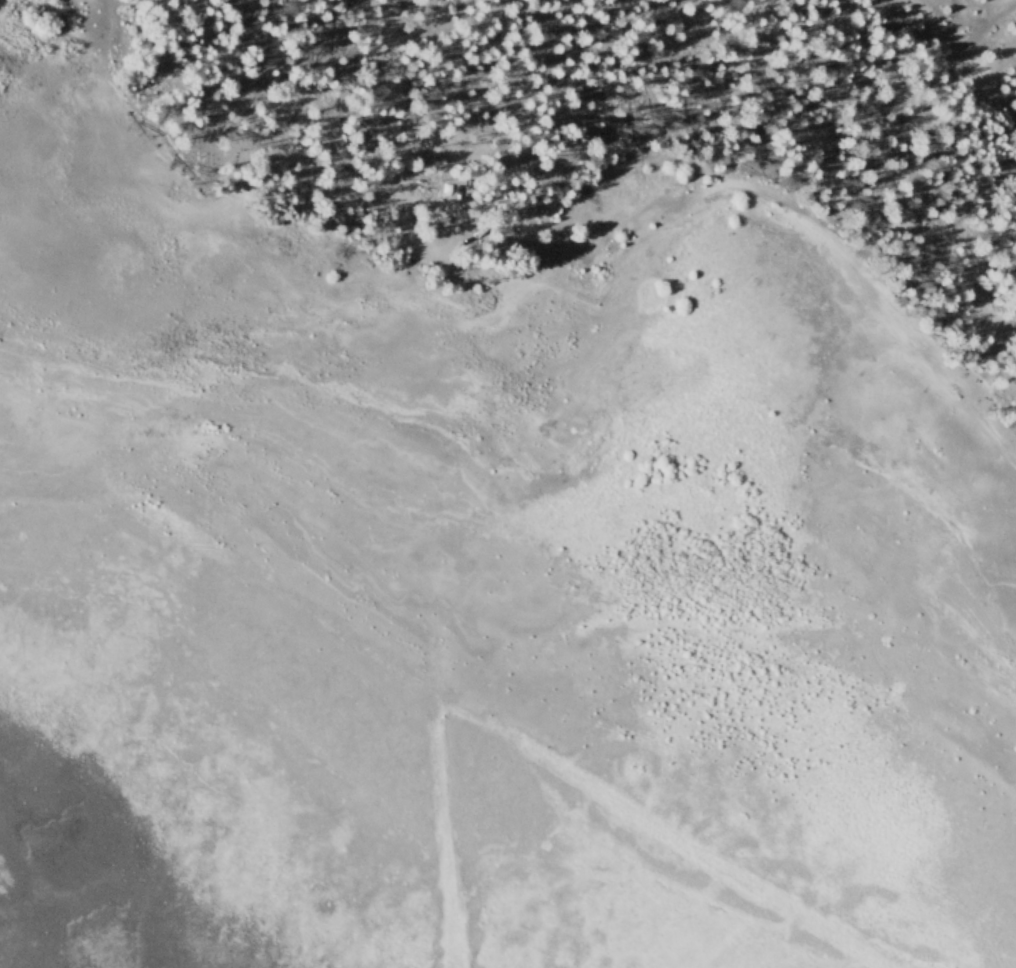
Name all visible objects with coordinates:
road: (801, 8)
road: (964, 61)
road: (396, 71)

